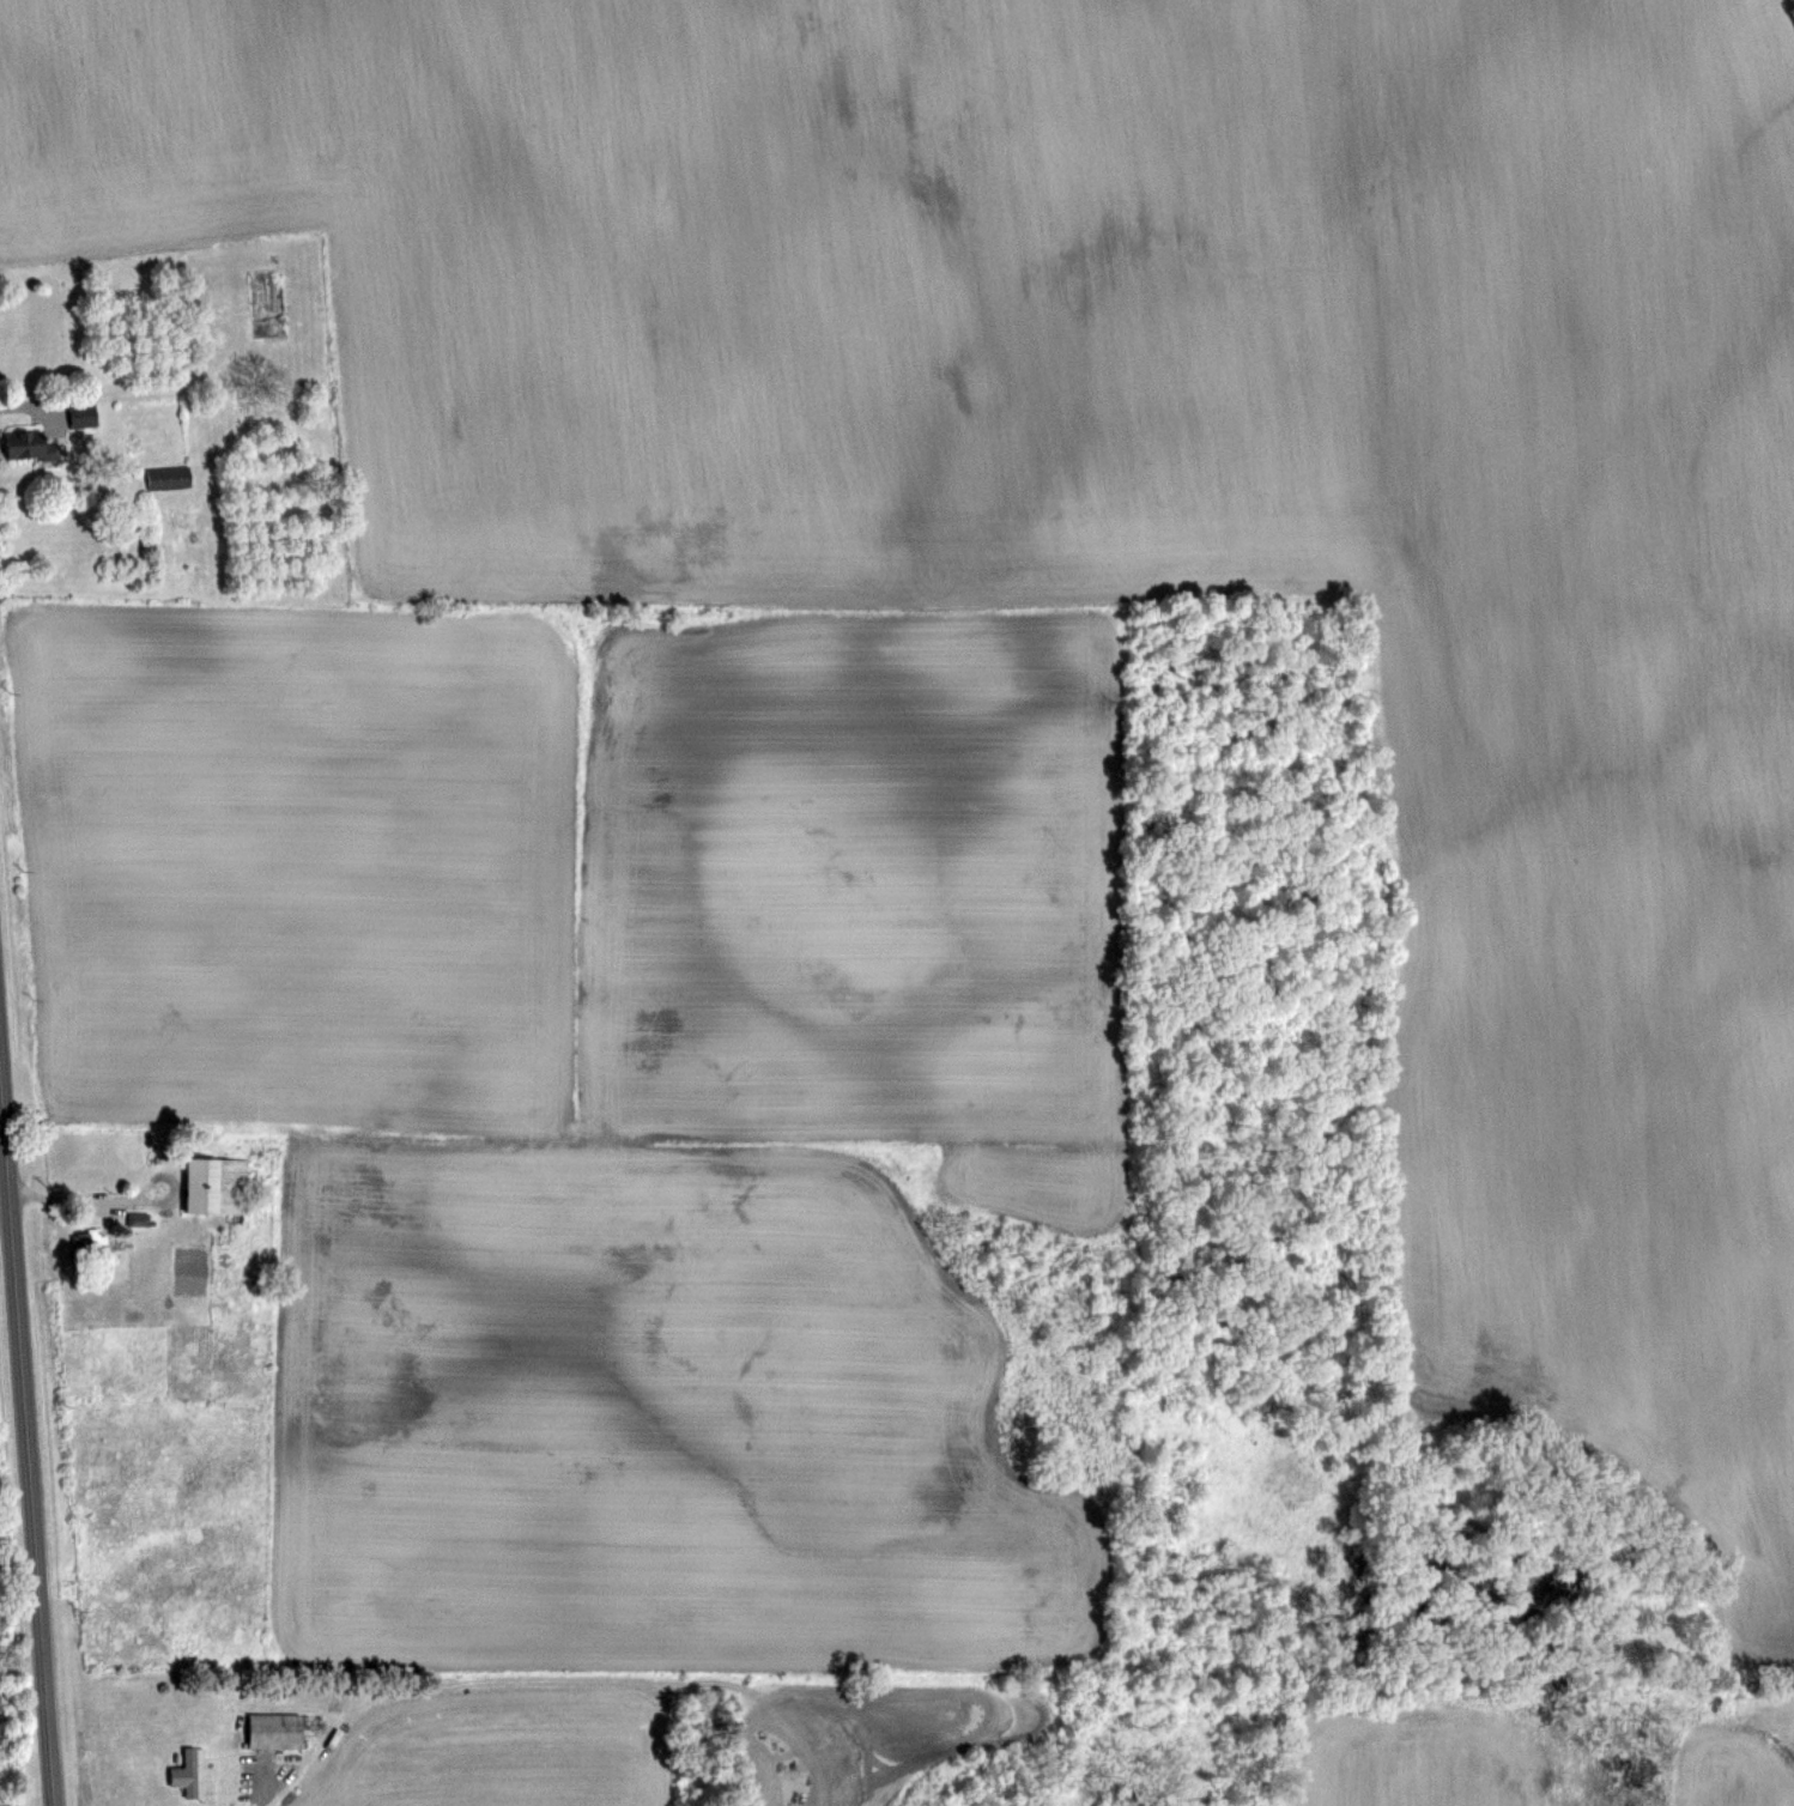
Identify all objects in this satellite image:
road: (24, 405)
building: (83, 413)
building: (30, 444)
building: (169, 477)
building: (217, 1186)
road: (79, 1199)
building: (139, 1218)
building: (92, 1243)
road: (29, 1422)
building: (275, 1731)
building: (188, 1772)
road: (256, 1782)

